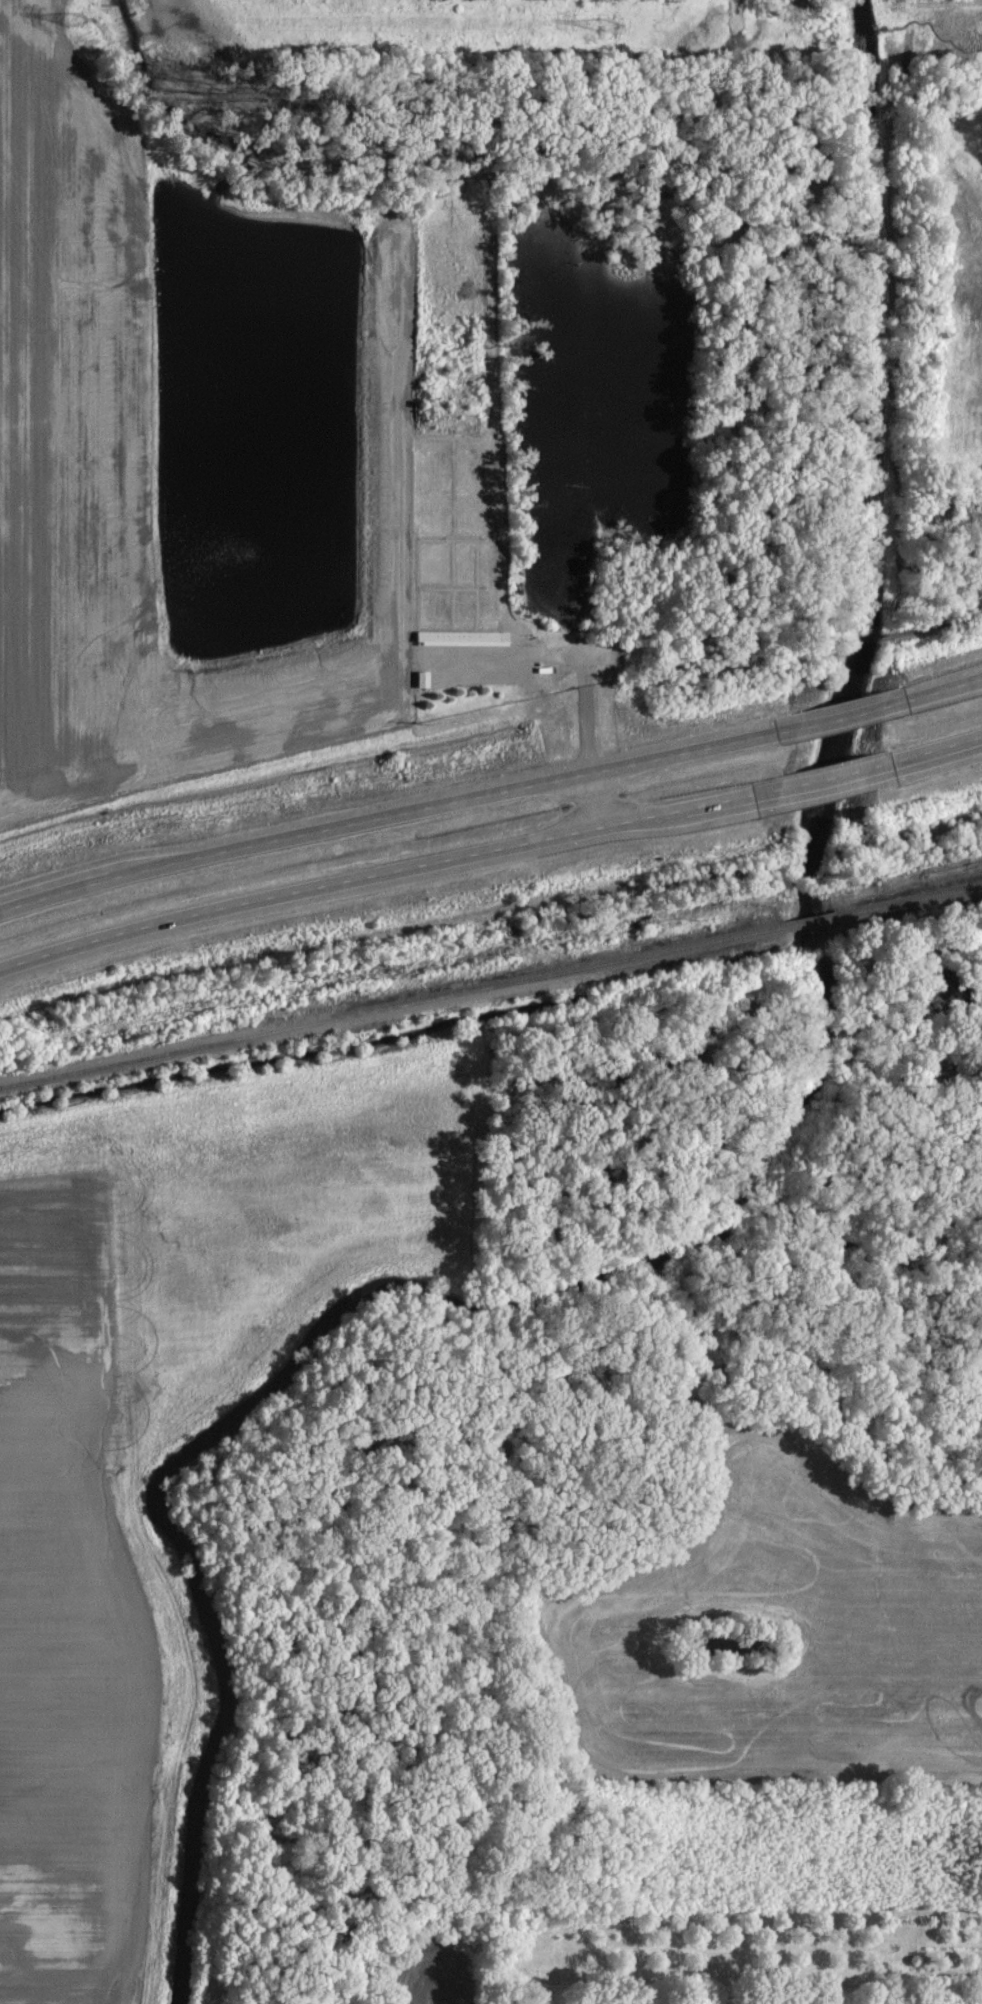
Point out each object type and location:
power tower: (78, 29)
power tower: (605, 35)
building: (466, 638)
road: (525, 657)
road: (942, 690)
road: (840, 716)
road: (935, 751)
road: (590, 755)
road: (836, 777)
road: (388, 816)
road: (389, 870)
railway: (911, 900)
railway: (812, 921)
railway: (391, 1007)

